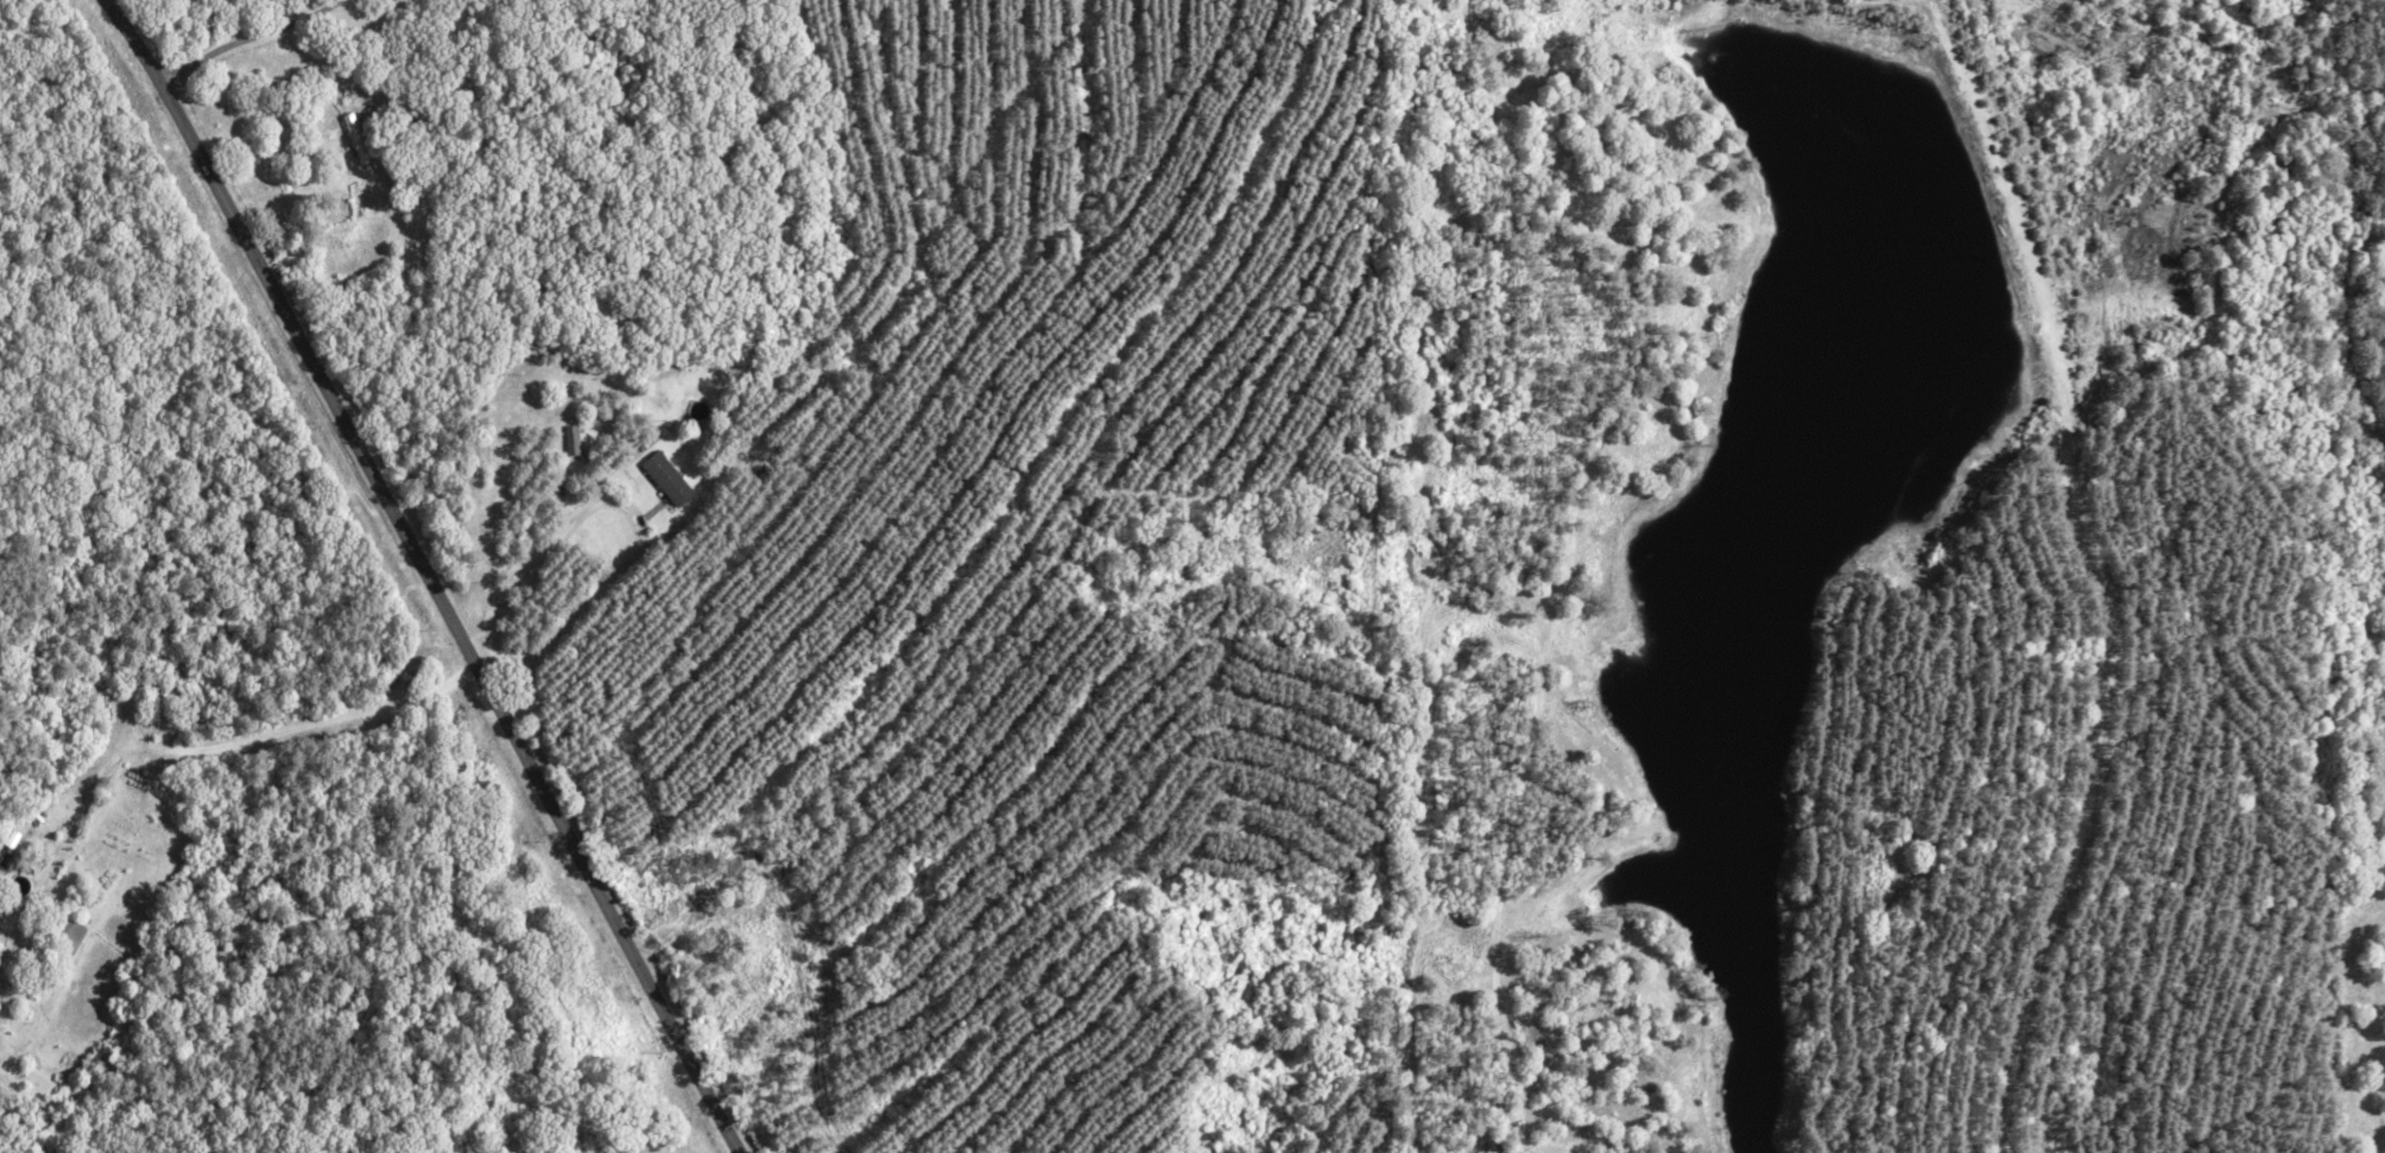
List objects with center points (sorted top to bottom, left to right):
road: (238, 40)
building: (570, 438)
building: (664, 477)
road: (424, 572)
road: (305, 723)

